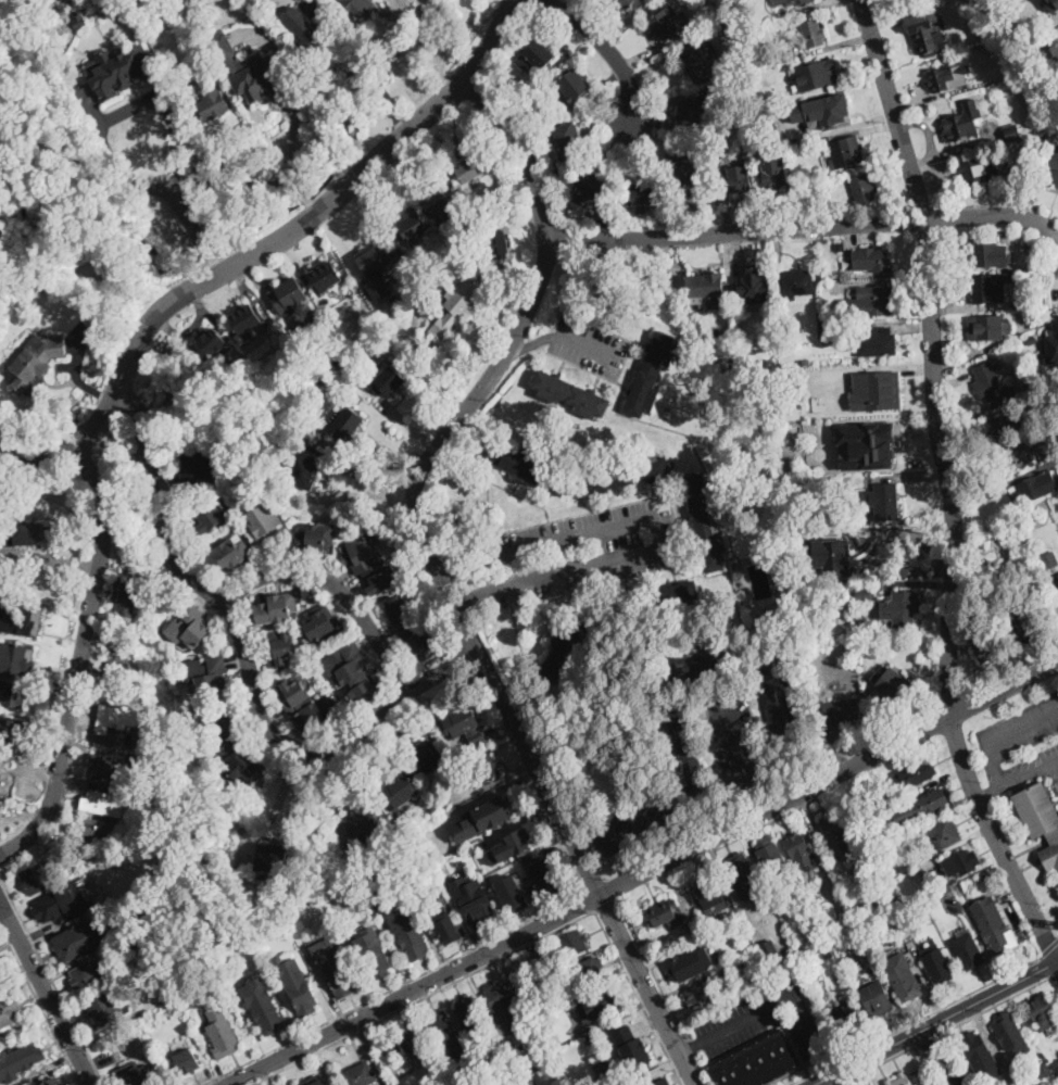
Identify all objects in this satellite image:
building: (899, 0)
building: (786, 1)
building: (353, 3)
building: (628, 3)
building: (739, 7)
building: (1051, 18)
building: (79, 21)
building: (665, 23)
building: (304, 31)
building: (925, 33)
building: (814, 34)
road: (419, 47)
road: (608, 51)
building: (226, 55)
building: (789, 55)
building: (768, 56)
building: (538, 59)
building: (697, 62)
road: (366, 64)
building: (119, 70)
building: (174, 70)
building: (816, 74)
building: (948, 75)
building: (251, 83)
building: (571, 87)
building: (1057, 91)
building: (211, 106)
building: (823, 110)
building: (692, 115)
building: (761, 115)
building: (736, 122)
building: (962, 123)
road: (294, 134)
building: (1012, 134)
building: (569, 142)
building: (847, 152)
building: (707, 154)
building: (771, 167)
building: (473, 168)
building: (1053, 169)
building: (684, 171)
building: (974, 173)
building: (739, 178)
road: (130, 179)
road: (201, 179)
road: (173, 181)
building: (508, 181)
building: (864, 189)
building: (592, 190)
road: (304, 195)
building: (644, 195)
building: (441, 204)
road: (313, 207)
building: (411, 227)
road: (804, 227)
building: (497, 242)
building: (840, 245)
road: (265, 249)
building: (984, 254)
building: (375, 260)
building: (872, 260)
building: (1037, 260)
building: (326, 277)
building: (797, 282)
building: (706, 283)
building: (757, 288)
building: (991, 288)
building: (288, 295)
building: (394, 298)
building: (877, 299)
building: (459, 302)
building: (1021, 302)
building: (427, 304)
building: (327, 305)
building: (834, 313)
building: (314, 314)
building: (247, 318)
building: (986, 330)
building: (400, 332)
building: (832, 335)
building: (1051, 341)
road: (537, 342)
building: (877, 343)
building: (210, 344)
road: (587, 344)
parking lot: (591, 348)
road: (935, 353)
building: (341, 357)
building: (224, 359)
building: (816, 361)
building: (36, 362)
building: (806, 362)
building: (811, 373)
building: (652, 374)
building: (322, 377)
building: (388, 380)
building: (994, 387)
building: (876, 390)
building: (570, 395)
building: (1037, 403)
building: (345, 422)
building: (1002, 428)
building: (865, 444)
building: (1020, 458)
building: (526, 467)
building: (198, 470)
building: (304, 470)
building: (1057, 470)
building: (626, 474)
building: (1037, 487)
building: (885, 501)
building: (207, 515)
building: (263, 522)
building: (705, 523)
road: (660, 534)
road: (912, 534)
building: (26, 535)
building: (313, 538)
parking lot: (584, 551)
building: (230, 553)
building: (832, 557)
building: (1049, 560)
building: (369, 565)
road: (466, 567)
road: (440, 579)
road: (338, 588)
building: (865, 593)
building: (128, 597)
road: (476, 600)
building: (656, 601)
building: (277, 607)
building: (902, 607)
building: (21, 617)
building: (767, 617)
building: (323, 623)
building: (189, 627)
building: (411, 628)
building: (1021, 632)
building: (986, 645)
building: (278, 647)
building: (568, 647)
building: (16, 656)
road: (78, 658)
building: (710, 664)
road: (250, 666)
building: (353, 672)
building: (116, 673)
building: (207, 673)
building: (895, 690)
road: (1005, 690)
building: (14, 693)
building: (781, 702)
building: (306, 706)
building: (841, 710)
building: (461, 721)
building: (105, 722)
building: (9, 729)
building: (225, 734)
building: (477, 737)
road: (734, 737)
parking lot: (735, 740)
parking lot: (1022, 745)
building: (685, 747)
building: (426, 756)
road: (991, 757)
building: (110, 768)
building: (244, 768)
building: (486, 769)
building: (5, 771)
building: (915, 774)
building: (399, 790)
road: (988, 792)
building: (0, 796)
building: (458, 798)
road: (751, 800)
building: (102, 803)
road: (277, 803)
building: (930, 803)
building: (1, 804)
building: (483, 818)
building: (362, 820)
building: (1040, 820)
parking lot: (634, 822)
road: (635, 822)
building: (98, 831)
building: (943, 832)
building: (835, 833)
road: (996, 841)
building: (511, 845)
building: (796, 845)
road: (587, 847)
building: (86, 853)
building: (527, 856)
building: (770, 858)
building: (272, 860)
building: (959, 863)
building: (40, 876)
building: (546, 876)
building: (986, 876)
building: (744, 878)
building: (949, 891)
building: (512, 893)
building: (711, 896)
building: (98, 899)
building: (474, 899)
road: (588, 900)
road: (590, 901)
road: (605, 906)
building: (806, 906)
building: (50, 908)
building: (884, 909)
building: (664, 912)
building: (445, 923)
building: (994, 925)
building: (697, 926)
building: (405, 928)
building: (713, 937)
building: (835, 937)
building: (77, 941)
building: (824, 941)
building: (860, 941)
building: (127, 945)
building: (568, 946)
building: (968, 948)
road: (1049, 948)
building: (771, 950)
building: (828, 954)
building: (376, 959)
road: (448, 961)
building: (860, 961)
building: (748, 962)
building: (790, 963)
building: (936, 963)
building: (688, 964)
building: (335, 967)
road: (651, 969)
building: (713, 974)
building: (903, 974)
building: (88, 976)
road: (1056, 976)
road: (52, 979)
building: (521, 980)
building: (583, 980)
building: (297, 984)
road: (46, 993)
building: (727, 993)
building: (534, 994)
road: (423, 998)
building: (500, 998)
road: (638, 998)
building: (704, 998)
building: (877, 999)
road: (39, 1004)
building: (263, 1005)
building: (593, 1005)
road: (773, 1005)
road: (994, 1005)
road: (941, 1006)
building: (105, 1009)
building: (9, 1010)
building: (538, 1010)
building: (1043, 1012)
building: (468, 1015)
building: (847, 1015)
parking lot: (761, 1020)
road: (933, 1021)
building: (442, 1026)
building: (545, 1026)
building: (144, 1029)
building: (602, 1029)
building: (222, 1033)
building: (1010, 1033)
building: (592, 1036)
building: (533, 1037)
road: (924, 1038)
building: (114, 1039)
building: (411, 1044)
building: (626, 1045)
road: (689, 1046)
road: (690, 1046)
building: (980, 1054)
building: (1056, 1056)
road: (940, 1057)
building: (507, 1060)
building: (758, 1060)
building: (20, 1061)
building: (186, 1061)
road: (826, 1062)
road: (829, 1063)
road: (873, 1064)
building: (532, 1067)
building: (491, 1068)
road: (702, 1070)
building: (1046, 1070)
building: (606, 1073)
building: (358, 1074)
building: (1056, 1076)
building: (138, 1077)
road: (802, 1077)
building: (900, 1080)
building: (53, 1082)
building: (318, 1082)
building: (662, 1082)
building: (462, 1083)
building: (916, 1084)

